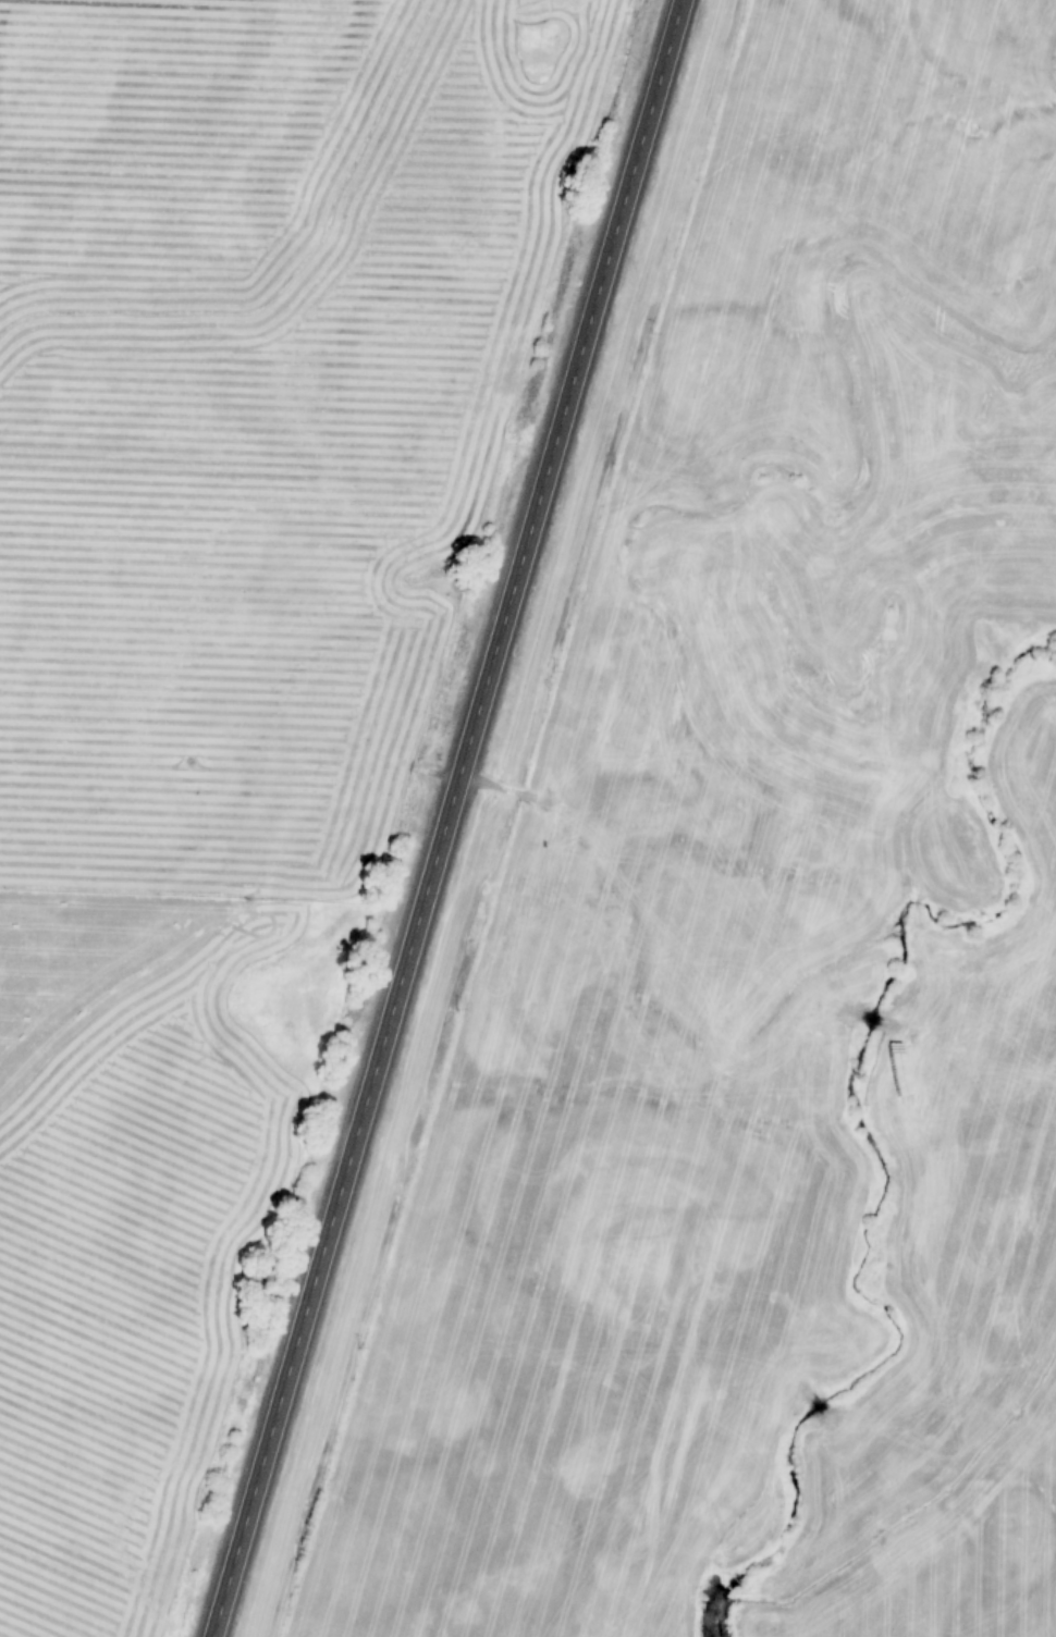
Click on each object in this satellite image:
road: (450, 818)

